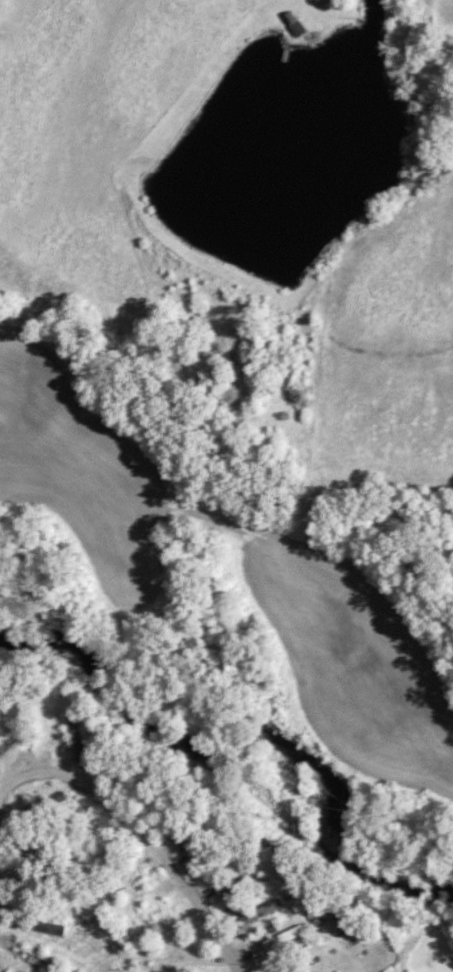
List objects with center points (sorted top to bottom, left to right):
building: (295, 25)
building: (75, 741)
road: (140, 832)
building: (192, 850)
building: (264, 912)
building: (41, 927)
building: (285, 939)
building: (162, 960)
building: (40, 964)

